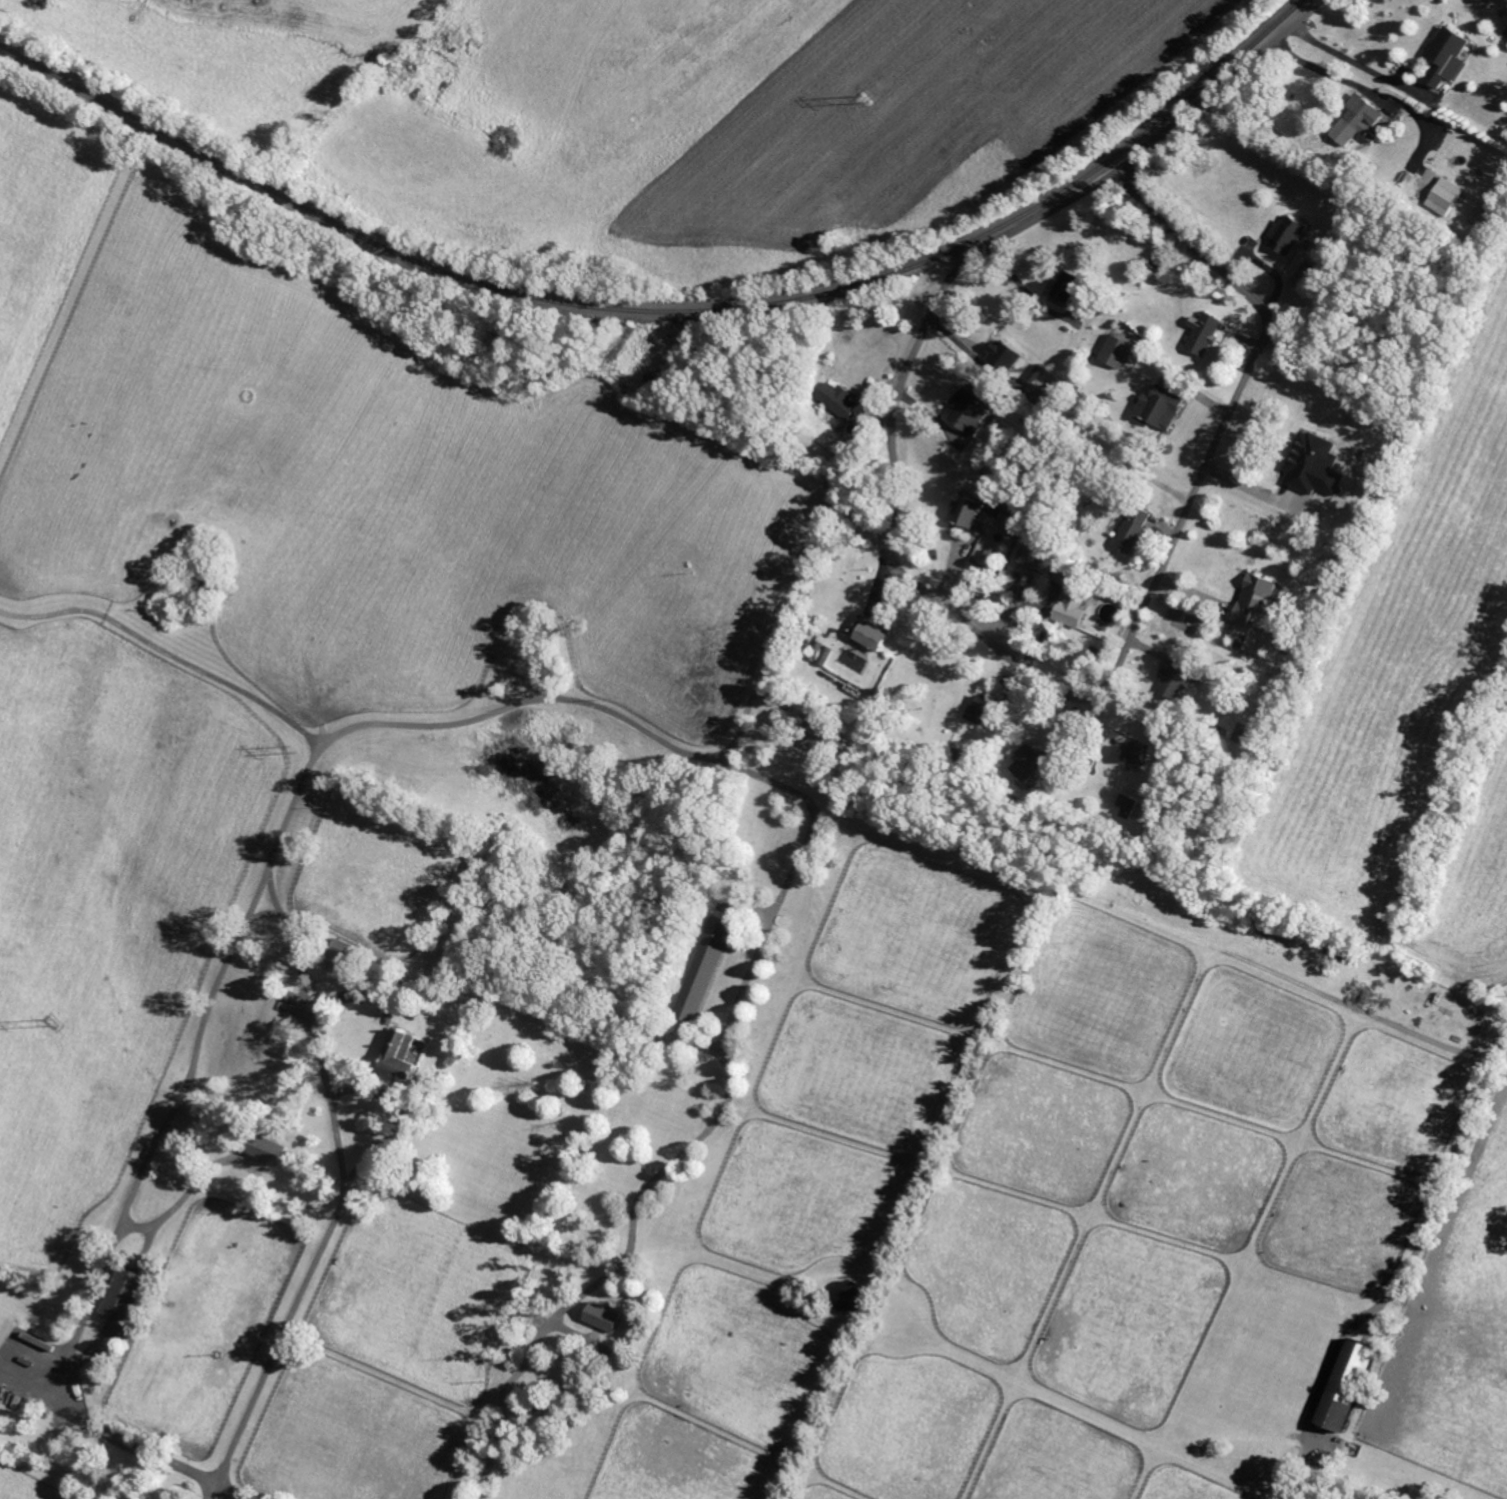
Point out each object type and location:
building: (1444, 56)
road: (1359, 62)
road: (1333, 75)
road: (1222, 88)
power tower: (867, 93)
building: (1356, 120)
building: (1441, 195)
building: (1285, 235)
building: (1059, 288)
railway: (668, 310)
building: (1201, 333)
building: (1113, 351)
building: (1000, 357)
power tower: (623, 366)
building: (837, 400)
building: (1158, 408)
building: (966, 412)
building: (1311, 465)
building: (964, 512)
building: (1130, 532)
building: (1026, 556)
building: (1251, 597)
road: (796, 600)
building: (1068, 610)
building: (866, 630)
building: (821, 653)
road: (1043, 678)
road: (583, 702)
building: (976, 708)
building: (839, 743)
power tower: (293, 749)
building: (1126, 752)
building: (1026, 761)
building: (1125, 804)
road: (265, 913)
building: (701, 969)
road: (359, 994)
power tower: (53, 1023)
building: (398, 1052)
road: (401, 1118)
road: (161, 1131)
building: (262, 1148)
road: (188, 1189)
road: (1405, 1274)
building: (119, 1293)
building: (598, 1316)
building: (1341, 1384)
road: (109, 1425)
road: (214, 1490)
road: (234, 1490)

